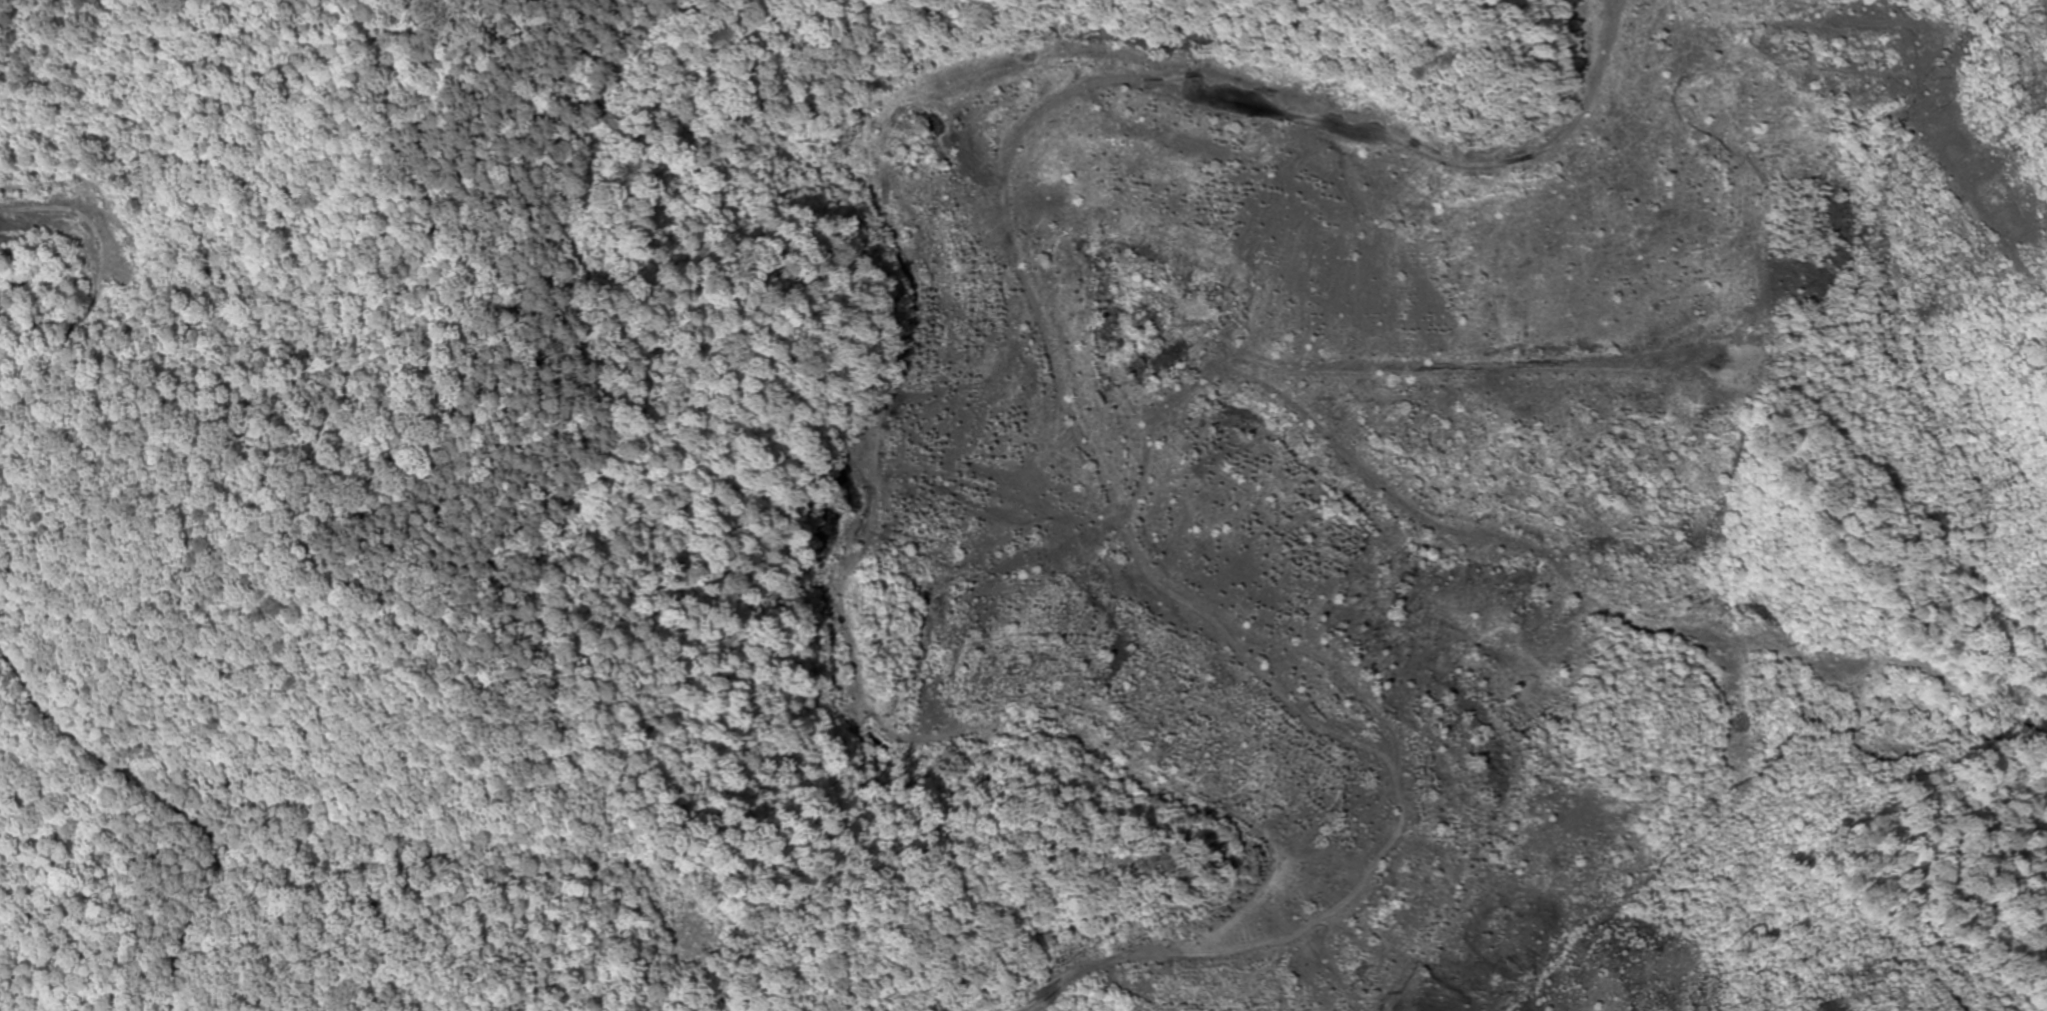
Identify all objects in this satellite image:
road: (1305, 122)
road: (17, 213)
road: (981, 745)

